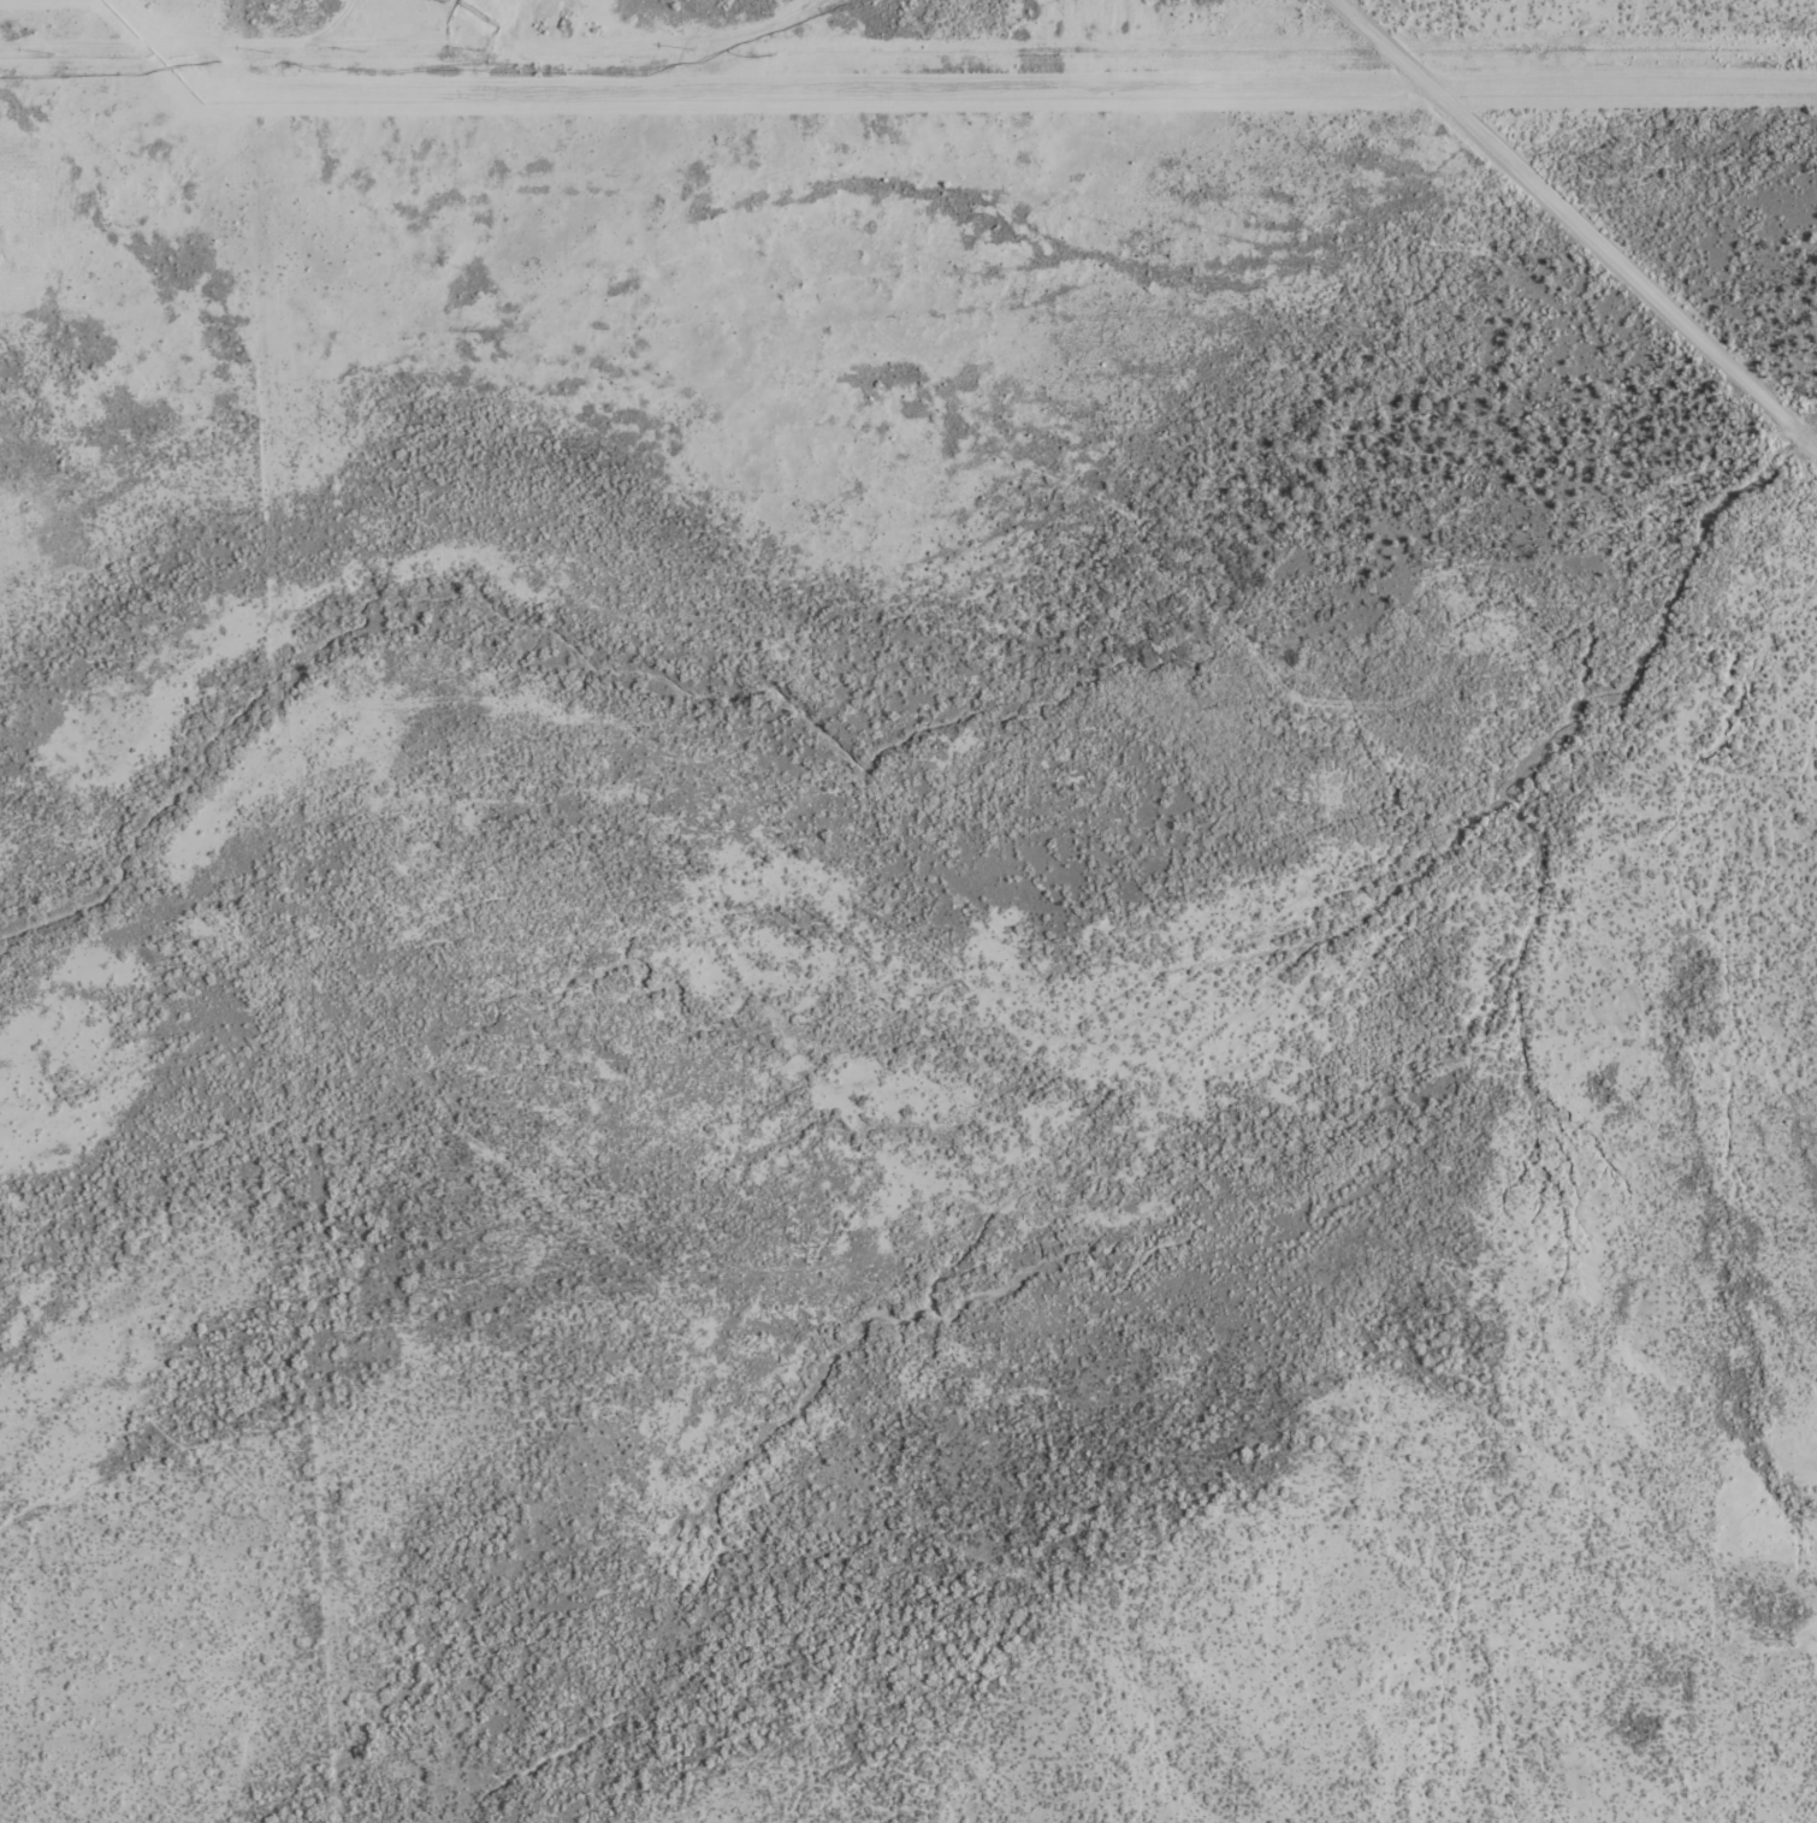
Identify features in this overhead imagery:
road: (1562, 232)

